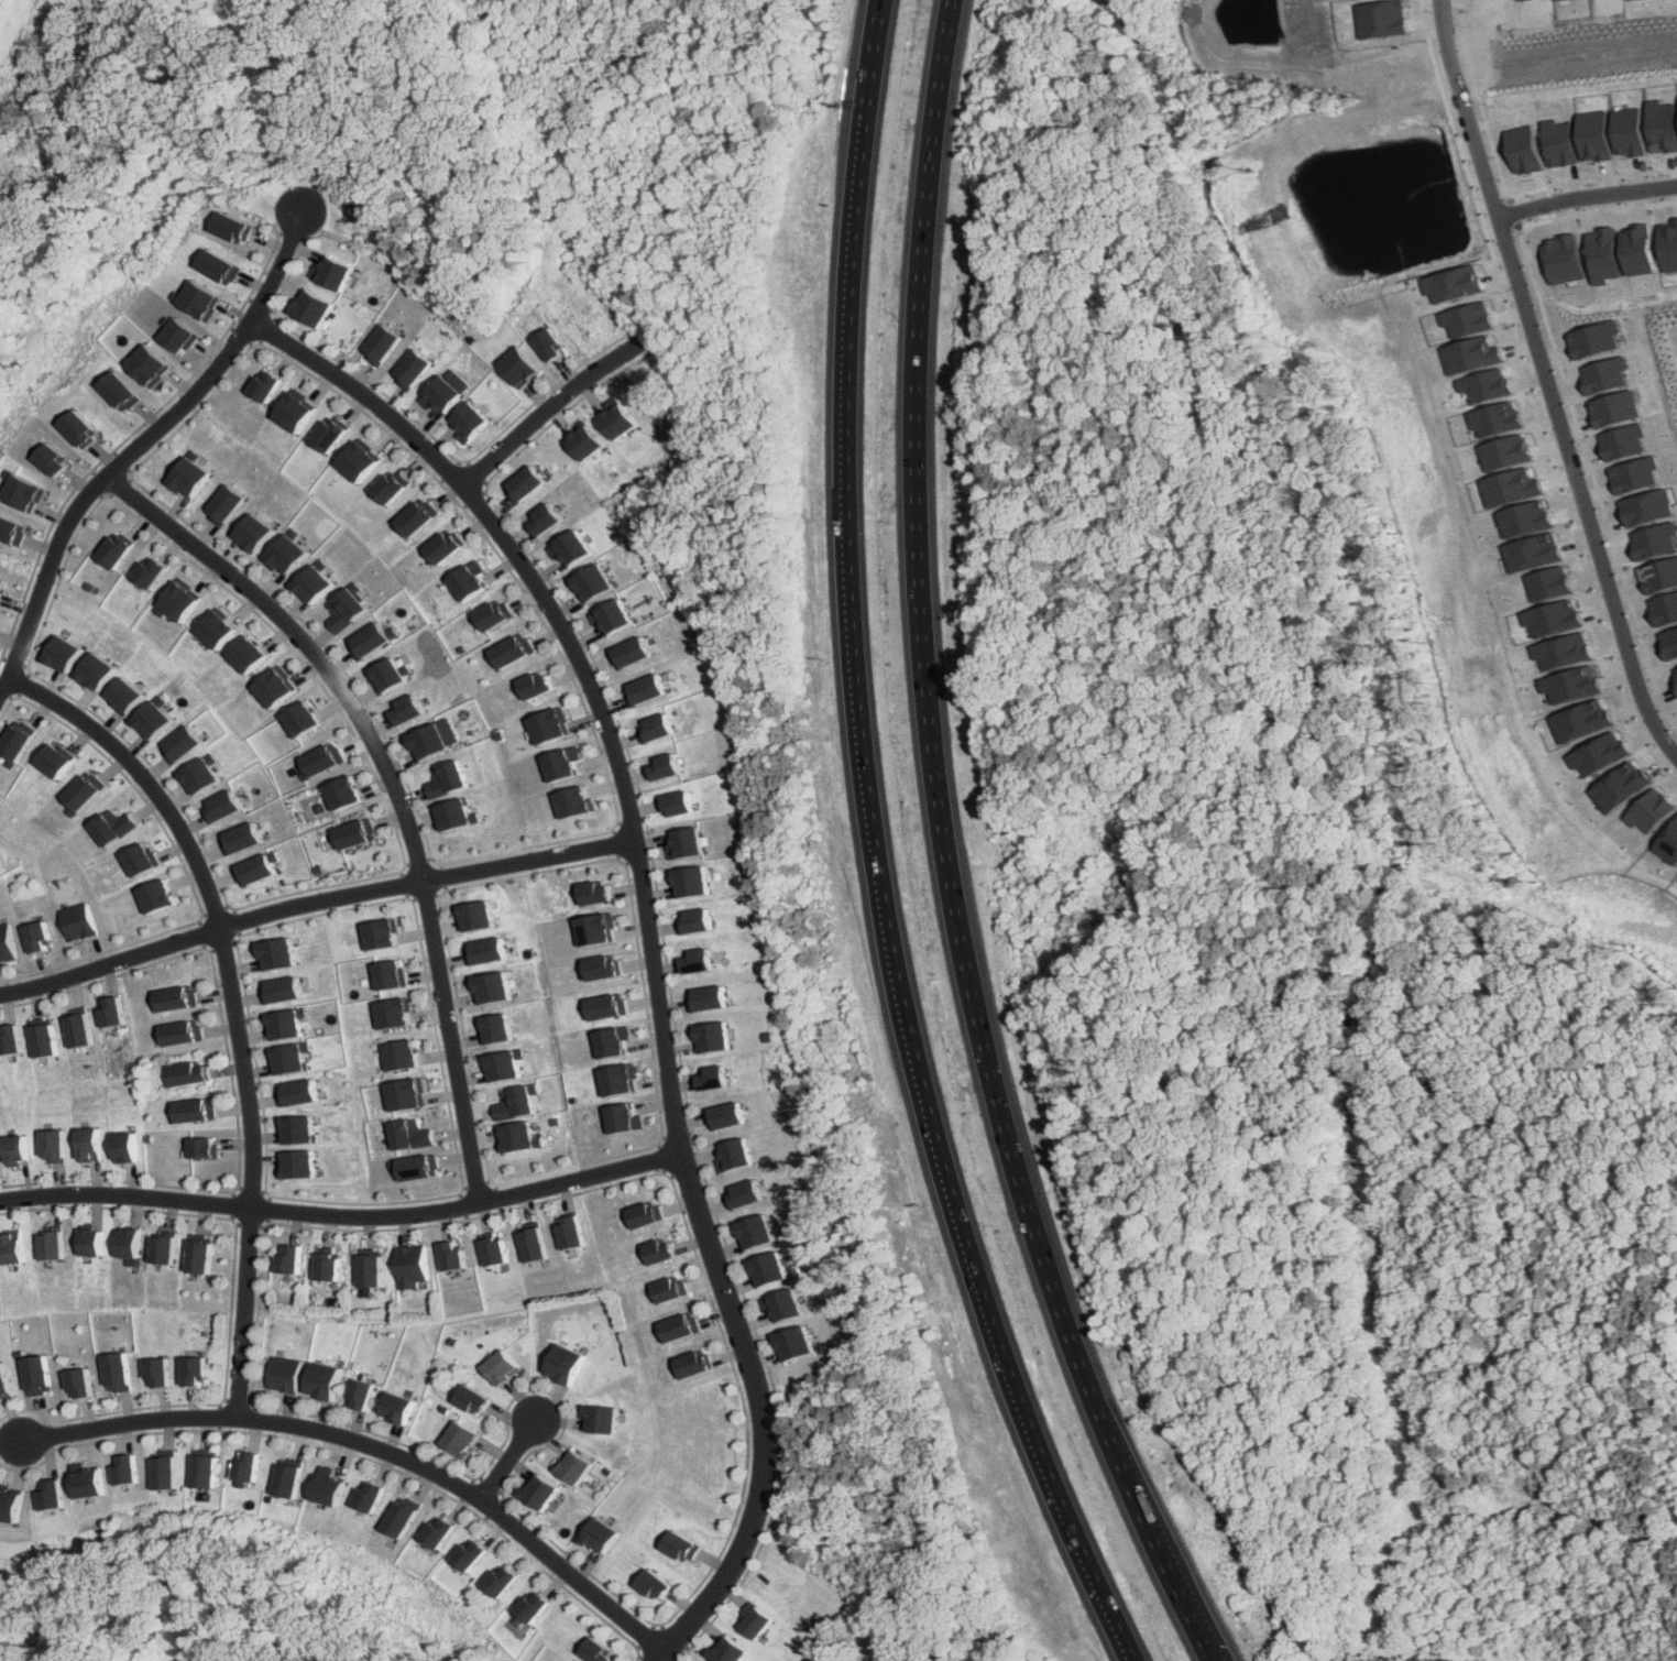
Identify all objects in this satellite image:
building: (1663, 125)
building: (1631, 131)
building: (1597, 135)
building: (1561, 143)
building: (1526, 149)
road: (1588, 197)
building: (239, 227)
building: (1669, 245)
building: (1638, 250)
building: (1603, 254)
building: (1563, 259)
building: (223, 266)
building: (333, 272)
building: (1456, 284)
building: (204, 299)
building: (314, 308)
building: (1470, 318)
building: (180, 336)
building: (1594, 338)
building: (380, 345)
building: (552, 345)
building: (1473, 354)
building: (151, 364)
building: (520, 367)
building: (410, 369)
building: (1604, 374)
road: (1552, 380)
building: (266, 385)
building: (1490, 385)
building: (123, 391)
building: (443, 391)
building: (1614, 408)
building: (296, 411)
road: (539, 416)
building: (1498, 418)
building: (616, 419)
building: (468, 422)
building: (85, 429)
building: (330, 434)
building: (1622, 440)
building: (583, 441)
road: (141, 445)
building: (1508, 451)
building: (58, 460)
building: (359, 461)
building: (1633, 473)
building: (191, 474)
building: (524, 484)
building: (391, 485)
building: (1513, 487)
building: (31, 490)
building: (226, 504)
building: (1645, 507)
building: (416, 516)
building: (544, 518)
building: (1526, 518)
building: (14, 528)
building: (255, 532)
building: (1653, 539)
building: (443, 546)
building: (568, 548)
building: (120, 549)
building: (1535, 551)
building: (287, 555)
building: (154, 571)
building: (1658, 575)
building: (467, 580)
building: (1550, 582)
building: (589, 583)
building: (315, 584)
building: (3, 588)
building: (183, 601)
building: (347, 607)
building: (1664, 608)
building: (493, 614)
building: (607, 616)
building: (1554, 618)
building: (219, 629)
building: (368, 641)
building: (1668, 643)
building: (511, 649)
building: (1564, 651)
building: (65, 653)
building: (625, 653)
building: (249, 654)
building: (98, 671)
building: (390, 673)
building: (1675, 673)
building: (1576, 682)
building: (534, 685)
building: (276, 687)
building: (640, 689)
building: (125, 696)
building: (406, 709)
building: (153, 718)
building: (302, 719)
building: (1583, 720)
building: (547, 724)
building: (651, 729)
building: (431, 739)
building: (17, 743)
building: (180, 744)
building: (1602, 753)
building: (321, 758)
building: (54, 761)
building: (559, 763)
building: (660, 766)
building: (199, 775)
building: (445, 778)
road: (393, 785)
building: (1623, 786)
building: (83, 793)
building: (342, 793)
building: (572, 801)
building: (673, 804)
building: (221, 806)
building: (1652, 810)
building: (453, 813)
building: (111, 826)
building: (354, 833)
building: (239, 838)
building: (683, 843)
building: (1669, 843)
road: (873, 850)
road: (944, 852)
building: (139, 859)
building: (252, 870)
building: (688, 882)
building: (592, 893)
building: (155, 895)
road: (311, 905)
building: (474, 916)
building: (693, 920)
building: (77, 921)
building: (593, 929)
building: (377, 933)
building: (37, 937)
road: (647, 938)
building: (7, 941)
building: (483, 950)
building: (273, 953)
building: (697, 960)
building: (600, 966)
building: (387, 974)
building: (489, 987)
building: (278, 990)
building: (706, 997)
building: (174, 998)
road: (232, 1006)
building: (605, 1006)
building: (110, 1012)
building: (391, 1013)
building: (285, 1023)
building: (491, 1028)
building: (77, 1029)
building: (180, 1032)
building: (712, 1036)
building: (10, 1039)
building: (43, 1040)
building: (610, 1041)
building: (399, 1054)
building: (289, 1058)
building: (500, 1064)
building: (187, 1072)
building: (714, 1078)
building: (616, 1079)
building: (296, 1092)
building: (404, 1094)
building: (516, 1100)
building: (195, 1110)
building: (727, 1116)
building: (621, 1118)
building: (296, 1129)
building: (408, 1134)
building: (514, 1137)
building: (89, 1144)
building: (54, 1146)
building: (125, 1147)
building: (204, 1147)
building: (18, 1150)
building: (737, 1155)
building: (297, 1163)
building: (412, 1167)
building: (747, 1194)
building: (643, 1214)
road: (343, 1217)
building: (563, 1232)
building: (758, 1232)
building: (91, 1243)
building: (129, 1244)
building: (527, 1244)
building: (52, 1245)
building: (13, 1247)
building: (163, 1249)
building: (489, 1250)
building: (656, 1252)
building: (446, 1256)
building: (197, 1257)
building: (287, 1258)
building: (325, 1266)
building: (407, 1267)
building: (771, 1269)
building: (366, 1270)
building: (668, 1289)
building: (785, 1304)
building: (677, 1327)
building: (796, 1343)
building: (690, 1364)
building: (558, 1365)
building: (496, 1366)
building: (117, 1372)
building: (191, 1372)
building: (156, 1373)
building: (40, 1375)
building: (282, 1375)
building: (318, 1380)
building: (6, 1381)
building: (79, 1384)
building: (358, 1395)
building: (468, 1400)
building: (393, 1408)
building: (593, 1420)
building: (456, 1439)
road: (377, 1449)
road: (505, 1460)
building: (248, 1466)
building: (569, 1467)
building: (127, 1469)
building: (206, 1472)
building: (165, 1473)
building: (289, 1477)
building: (91, 1483)
building: (328, 1486)
building: (536, 1491)
building: (55, 1495)
building: (369, 1496)
building: (12, 1504)
building: (402, 1516)
building: (439, 1530)
building: (601, 1536)
building: (684, 1547)
building: (472, 1553)
building: (505, 1581)
building: (656, 1585)
building: (538, 1605)
building: (758, 1622)
building: (601, 1651)
building: (732, 1651)

